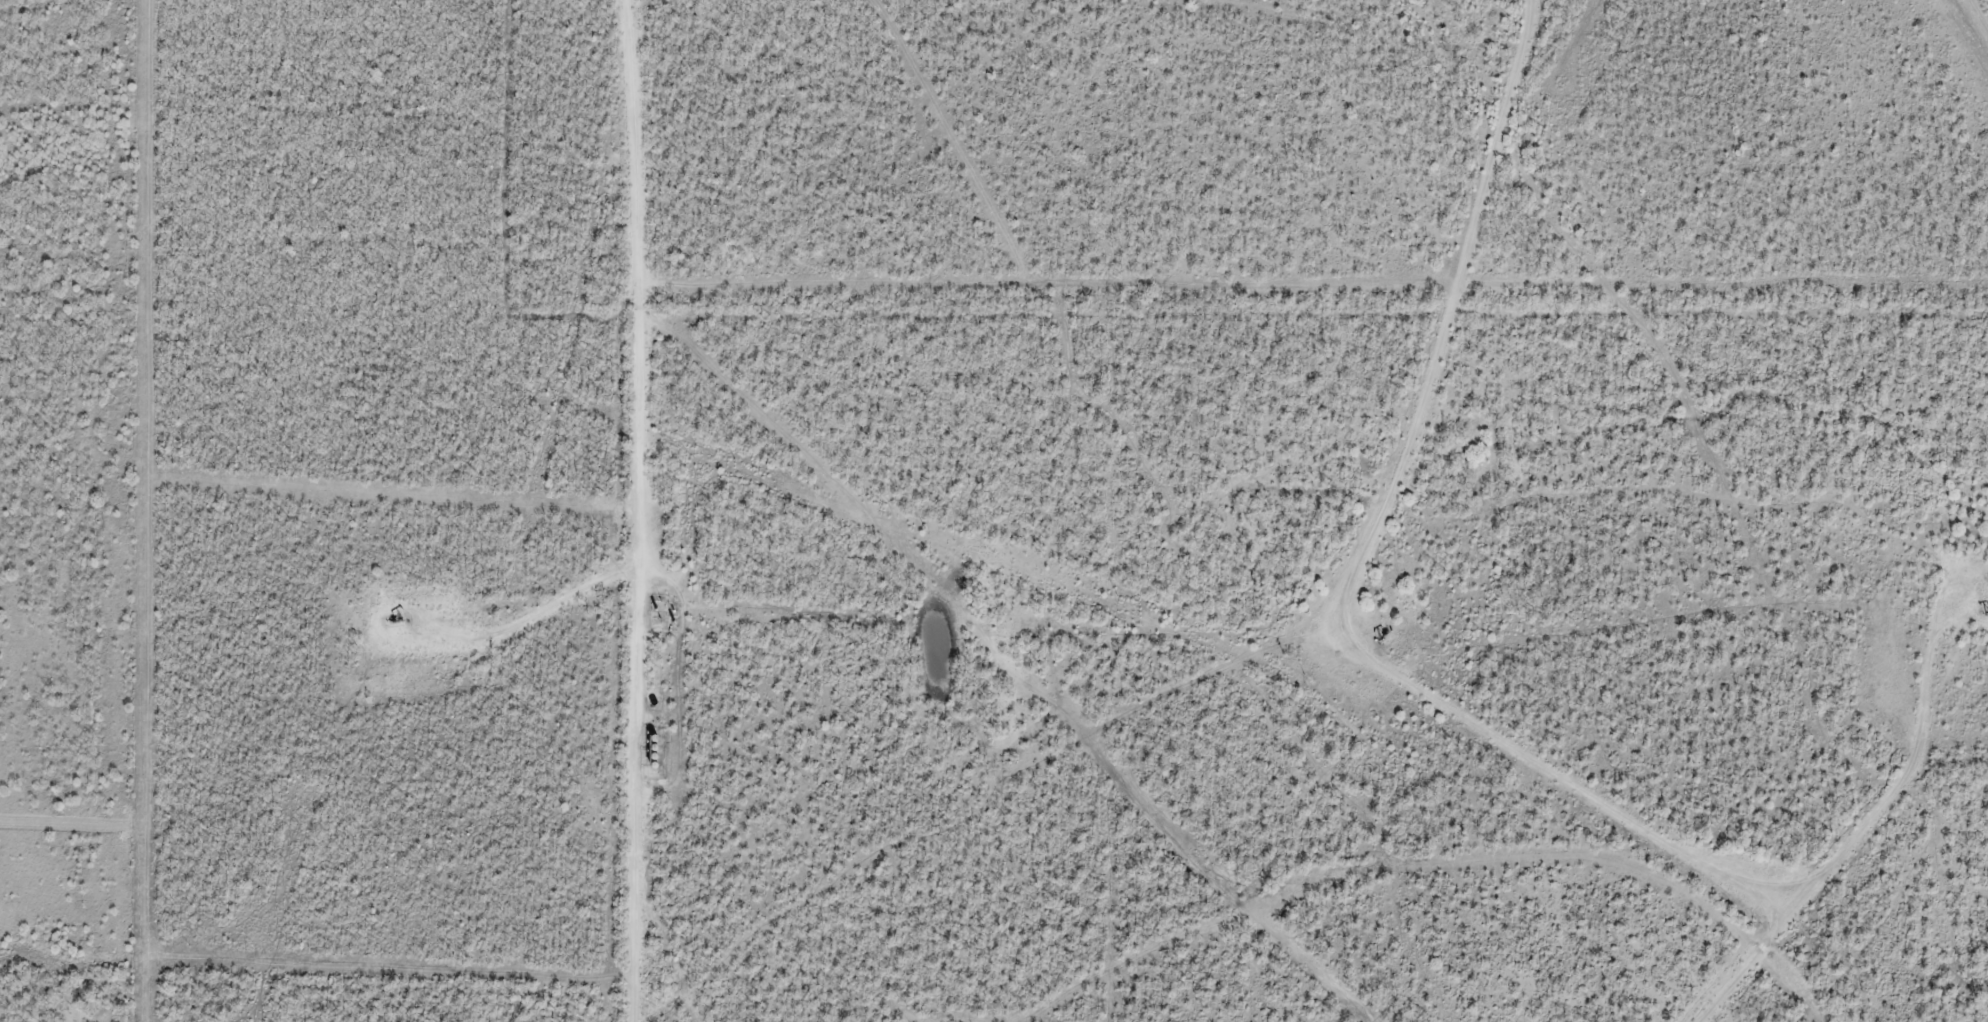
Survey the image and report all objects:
road: (634, 510)

